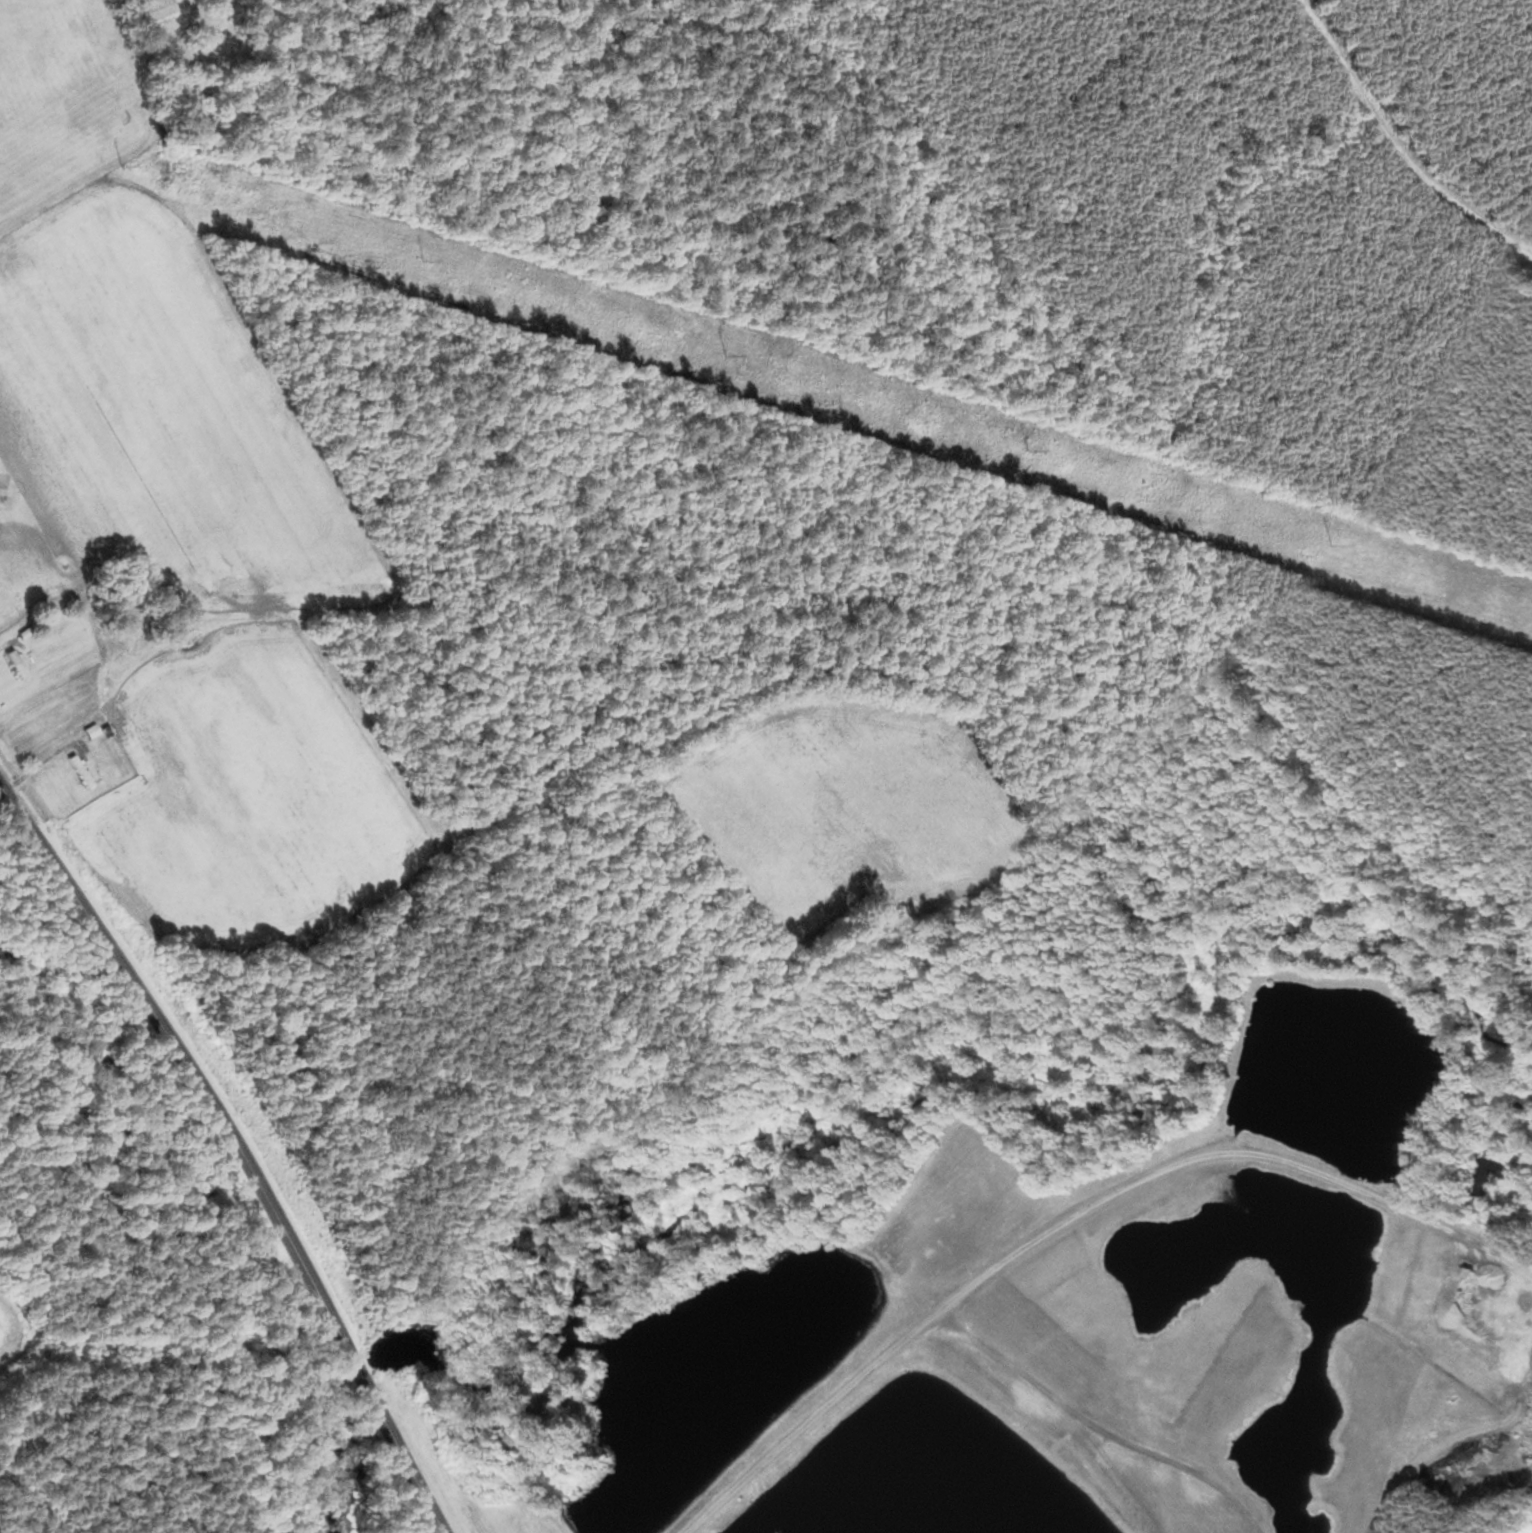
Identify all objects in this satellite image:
building: (151, 12)
road: (1395, 147)
building: (14, 665)
road: (52, 754)
building: (78, 773)
road: (234, 1141)
road: (1075, 1218)

